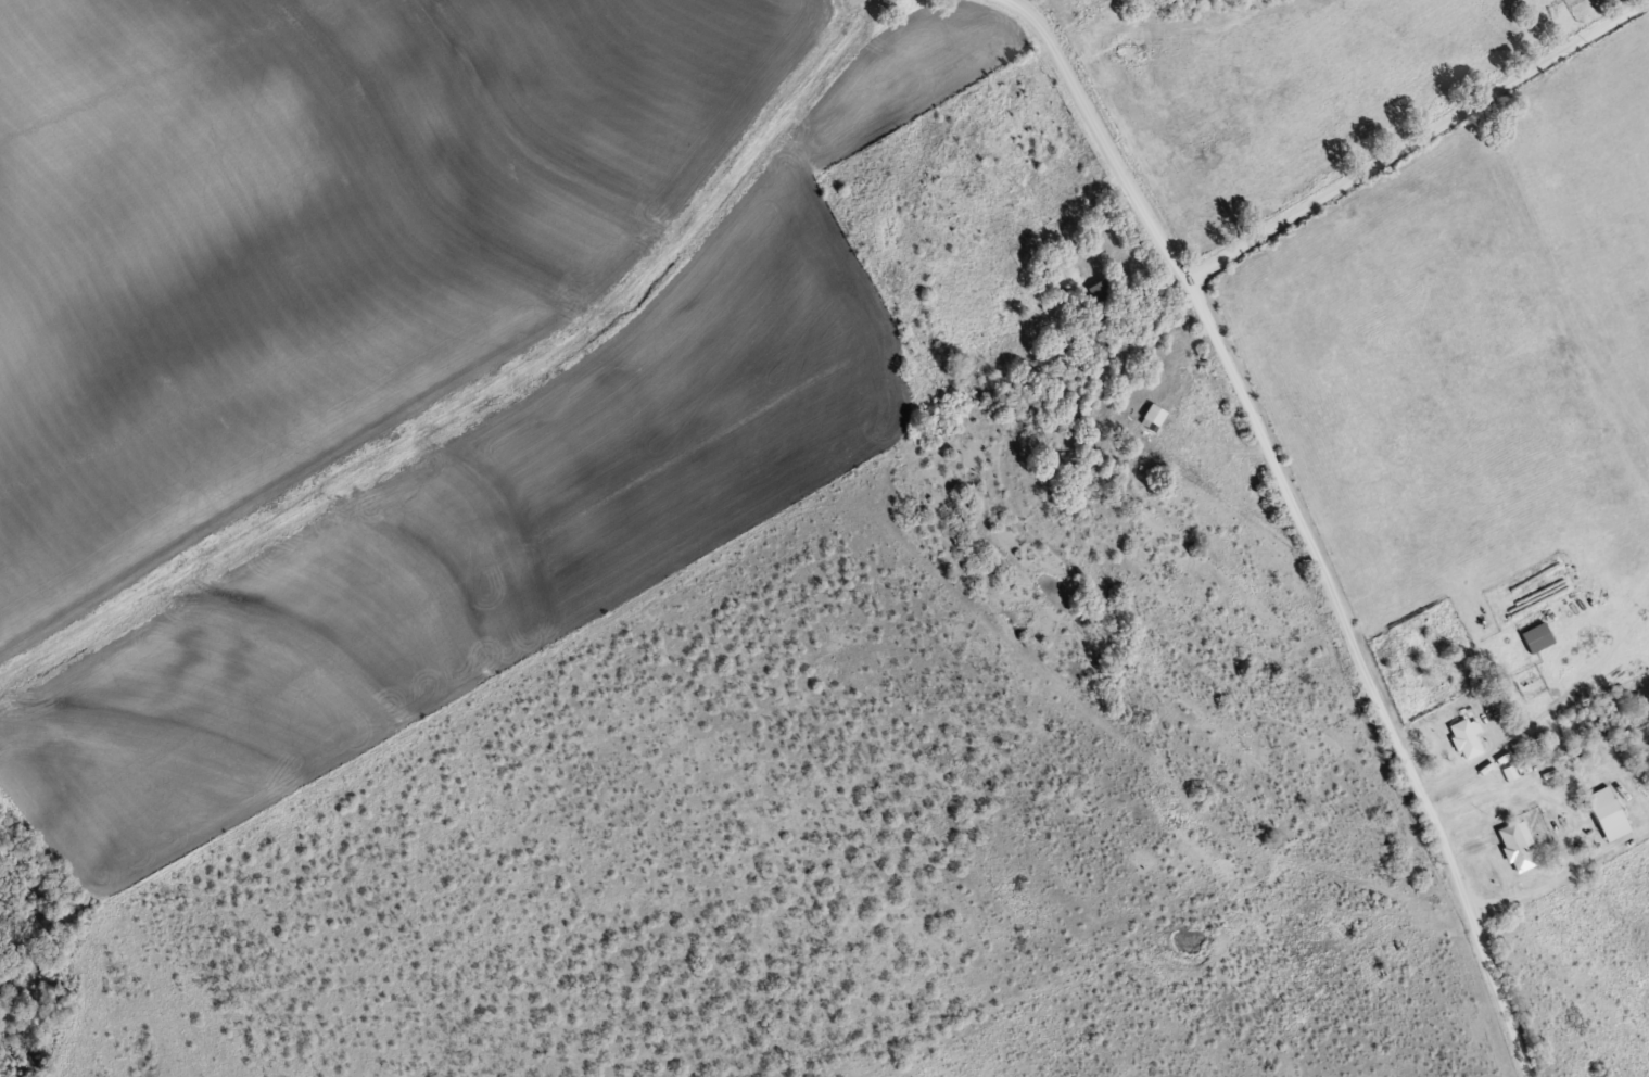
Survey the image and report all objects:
road: (1408, 135)
building: (1158, 401)
road: (1307, 518)
building: (1533, 636)
building: (1462, 736)
building: (1602, 812)
building: (1512, 844)

